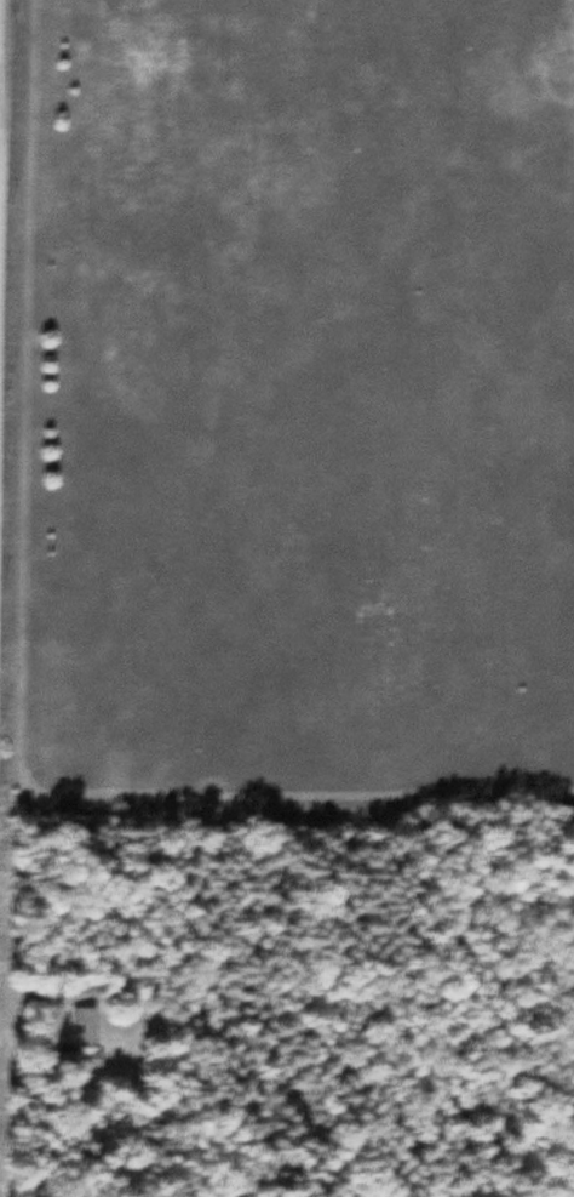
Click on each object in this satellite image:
building: (84, 1026)

